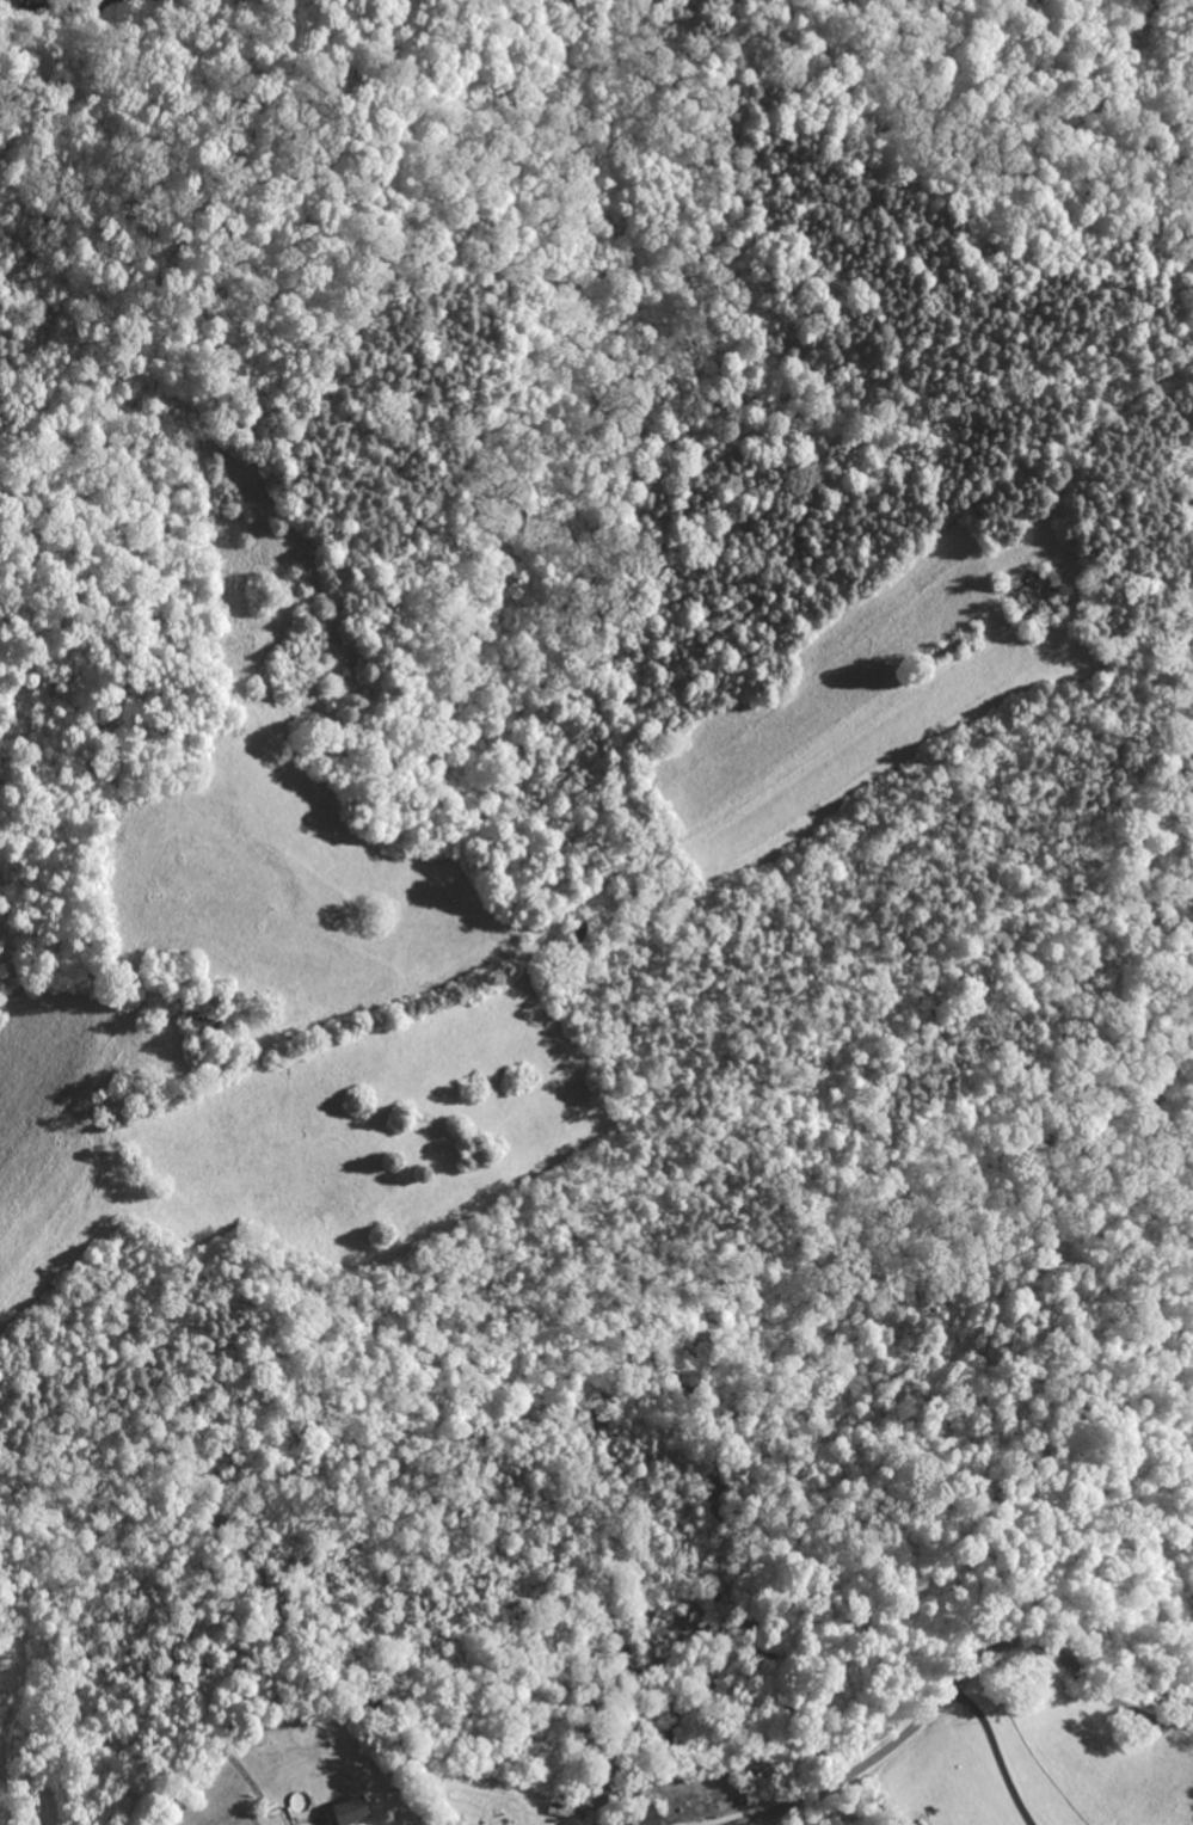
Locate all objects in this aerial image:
road: (417, 960)
road: (954, 1686)
road: (991, 1755)
building: (343, 1811)

